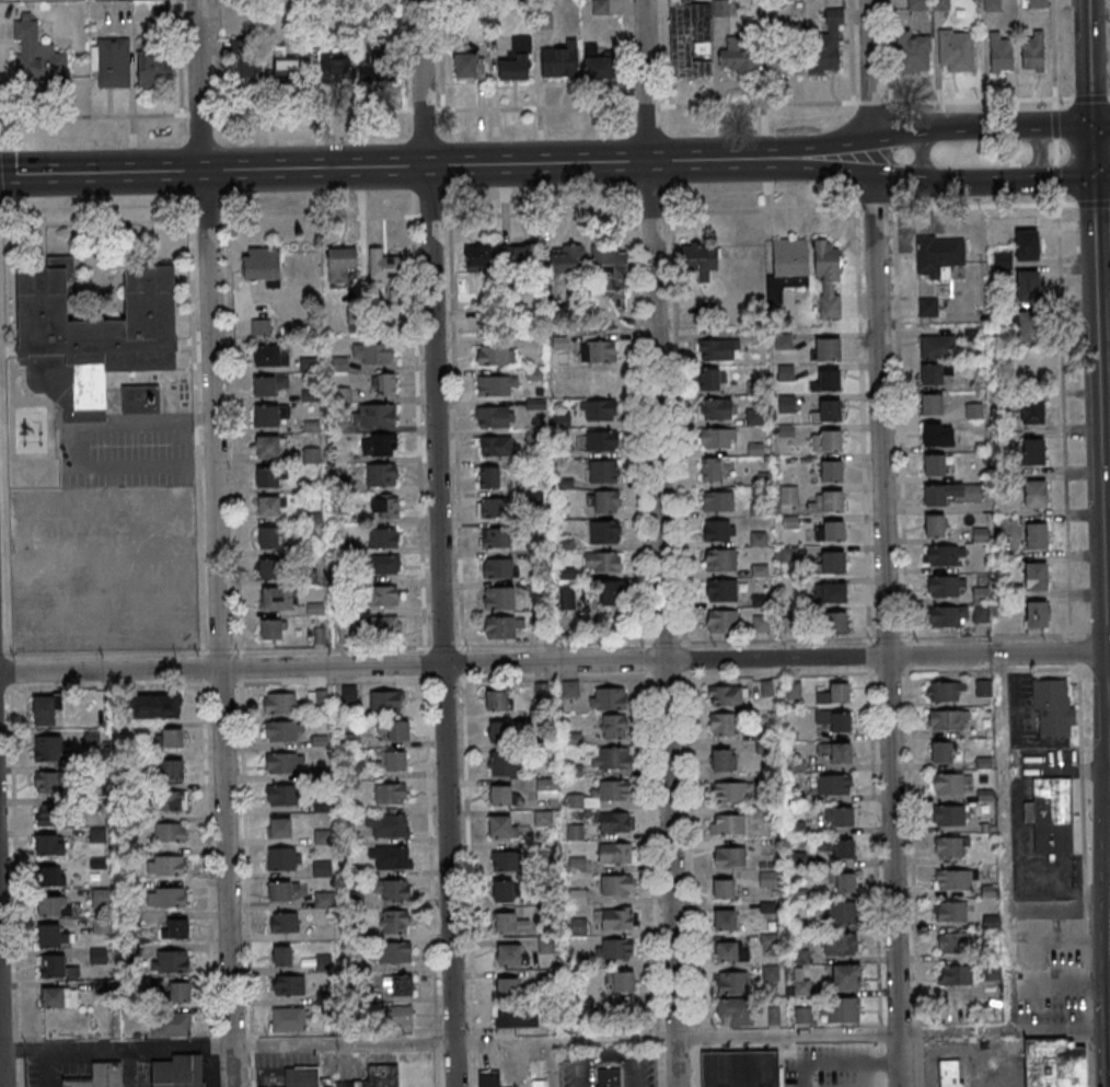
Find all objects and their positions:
building: (90, 0)
building: (1037, 3)
building: (916, 4)
building: (941, 4)
building: (992, 4)
building: (693, 36)
building: (826, 45)
building: (956, 49)
building: (36, 53)
building: (914, 53)
building: (1001, 53)
building: (1033, 53)
road: (1051, 55)
building: (742, 56)
building: (517, 59)
building: (559, 59)
building: (113, 61)
building: (371, 61)
building: (783, 62)
building: (598, 63)
building: (469, 65)
building: (334, 66)
building: (250, 68)
building: (287, 69)
building: (153, 70)
road: (1088, 99)
road: (1108, 99)
road: (928, 102)
road: (1054, 124)
traffic signals: (1090, 124)
road: (1022, 125)
road: (904, 134)
road: (831, 150)
road: (1054, 152)
road: (1038, 153)
road: (921, 154)
road: (496, 164)
road: (832, 167)
road: (101, 173)
road: (1055, 181)
traffic signals: (1091, 181)
road: (991, 182)
road: (1091, 205)
road: (1109, 205)
road: (537, 215)
building: (1027, 244)
building: (938, 256)
building: (522, 257)
building: (699, 257)
building: (478, 258)
building: (568, 258)
building: (340, 264)
building: (262, 265)
building: (787, 265)
building: (384, 267)
building: (612, 268)
building: (829, 278)
building: (1028, 286)
building: (928, 307)
building: (1030, 326)
road: (209, 334)
building: (93, 337)
building: (940, 347)
building: (716, 348)
building: (828, 348)
building: (598, 351)
building: (372, 354)
building: (496, 355)
building: (267, 357)
building: (1031, 361)
building: (934, 373)
building: (710, 379)
building: (826, 381)
building: (383, 384)
building: (497, 385)
building: (267, 386)
building: (141, 402)
building: (932, 404)
building: (715, 408)
building: (599, 410)
building: (828, 410)
building: (1032, 410)
building: (973, 412)
building: (378, 415)
building: (266, 416)
building: (493, 416)
road: (1062, 417)
road: (79, 433)
building: (938, 436)
building: (717, 438)
building: (602, 440)
building: (825, 440)
building: (974, 442)
building: (378, 443)
road: (1099, 443)
building: (498, 446)
building: (269, 447)
building: (1033, 451)
building: (934, 465)
building: (715, 469)
building: (603, 471)
building: (831, 471)
building: (381, 474)
building: (488, 476)
building: (267, 477)
building: (951, 494)
building: (1036, 494)
building: (788, 495)
building: (718, 500)
building: (605, 501)
building: (826, 502)
building: (269, 506)
building: (384, 506)
building: (494, 507)
building: (935, 525)
building: (719, 530)
building: (604, 531)
building: (830, 531)
building: (268, 536)
building: (1036, 536)
building: (384, 537)
building: (496, 537)
road: (438, 543)
road: (660, 543)
road: (883, 543)
building: (785, 554)
building: (945, 555)
building: (718, 559)
building: (603, 560)
building: (833, 563)
building: (384, 564)
building: (499, 567)
building: (268, 568)
building: (1036, 577)
road: (461, 579)
road: (423, 583)
building: (946, 586)
building: (536, 588)
building: (721, 589)
building: (611, 592)
building: (830, 592)
building: (386, 595)
building: (497, 597)
building: (276, 598)
building: (567, 599)
building: (315, 608)
building: (981, 613)
building: (1037, 614)
building: (948, 615)
building: (722, 621)
building: (833, 622)
building: (762, 623)
building: (384, 625)
building: (501, 626)
building: (270, 628)
building: (346, 634)
road: (1097, 636)
road: (771, 640)
road: (443, 646)
road: (331, 647)
road: (1072, 651)
road: (664, 660)
road: (425, 662)
road: (463, 662)
road: (109, 671)
road: (442, 679)
road: (331, 681)
building: (983, 687)
building: (570, 689)
building: (794, 691)
building: (946, 691)
building: (542, 692)
building: (348, 693)
building: (834, 693)
building: (727, 695)
building: (316, 697)
building: (609, 697)
road: (1108, 698)
building: (497, 699)
building: (384, 701)
building: (281, 703)
building: (157, 706)
building: (1054, 708)
building: (44, 714)
building: (834, 719)
building: (949, 720)
building: (722, 724)
building: (612, 726)
building: (393, 729)
building: (282, 731)
building: (498, 732)
building: (172, 738)
building: (835, 751)
building: (941, 752)
building: (611, 758)
building: (720, 760)
building: (392, 761)
building: (284, 763)
building: (502, 764)
building: (53, 770)
building: (172, 770)
building: (950, 783)
building: (546, 784)
building: (831, 784)
road: (1109, 790)
building: (731, 791)
building: (390, 793)
building: (600, 794)
building: (279, 795)
building: (499, 795)
building: (173, 800)
building: (761, 812)
building: (949, 814)
building: (1050, 814)
building: (50, 817)
building: (839, 817)
building: (542, 818)
building: (614, 822)
building: (727, 824)
building: (389, 825)
building: (279, 828)
building: (501, 828)
building: (797, 828)
road: (1018, 829)
building: (169, 832)
building: (575, 832)
building: (97, 834)
building: (322, 836)
parking lot: (1022, 839)
road: (1004, 844)
building: (49, 845)
building: (951, 846)
building: (837, 847)
building: (616, 852)
building: (730, 856)
building: (394, 857)
building: (284, 858)
building: (506, 861)
building: (99, 863)
building: (165, 864)
building: (322, 868)
road: (1085, 875)
building: (48, 876)
road: (227, 878)
building: (767, 879)
building: (955, 879)
road: (430, 880)
building: (842, 882)
building: (616, 884)
building: (724, 888)
building: (393, 890)
building: (280, 891)
building: (502, 891)
building: (990, 891)
building: (101, 897)
building: (171, 897)
building: (324, 900)
building: (51, 906)
building: (950, 911)
building: (842, 913)
building: (613, 917)
building: (724, 920)
building: (284, 922)
building: (394, 922)
building: (509, 923)
building: (175, 928)
building: (53, 936)
building: (953, 943)
building: (547, 945)
building: (840, 945)
building: (615, 948)
building: (394, 952)
building: (729, 952)
building: (99, 956)
building: (281, 956)
building: (509, 956)
building: (171, 961)
building: (324, 963)
building: (56, 967)
building: (952, 975)
building: (846, 979)
building: (620, 981)
building: (732, 983)
building: (289, 985)
building: (397, 985)
building: (507, 986)
building: (178, 992)
building: (58, 998)
building: (841, 1010)
building: (735, 1013)
building: (400, 1016)
building: (516, 1017)
building: (288, 1019)
building: (172, 1025)
road: (892, 1036)
road: (564, 1041)
road: (342, 1044)
road: (116, 1048)
building: (1055, 1063)
road: (840, 1064)
road: (48, 1067)
road: (128, 1067)
building: (739, 1069)
building: (178, 1072)
building: (951, 1073)
building: (302, 1074)
road: (870, 1075)
building: (99, 1076)
building: (610, 1078)
building: (489, 1079)

